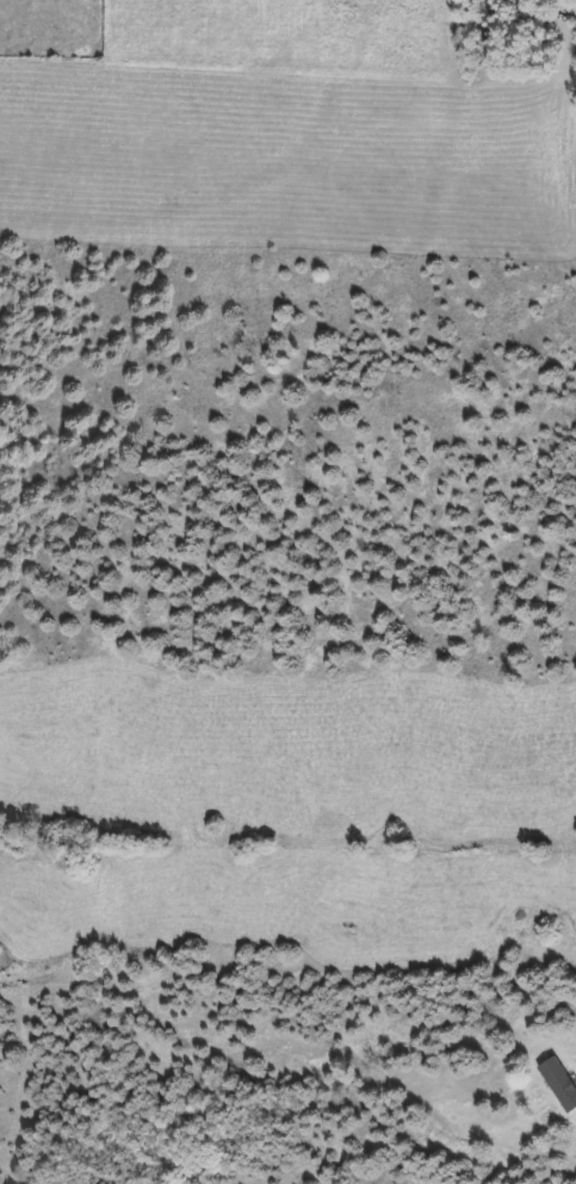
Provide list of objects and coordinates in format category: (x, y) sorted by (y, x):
building: (558, 1085)

